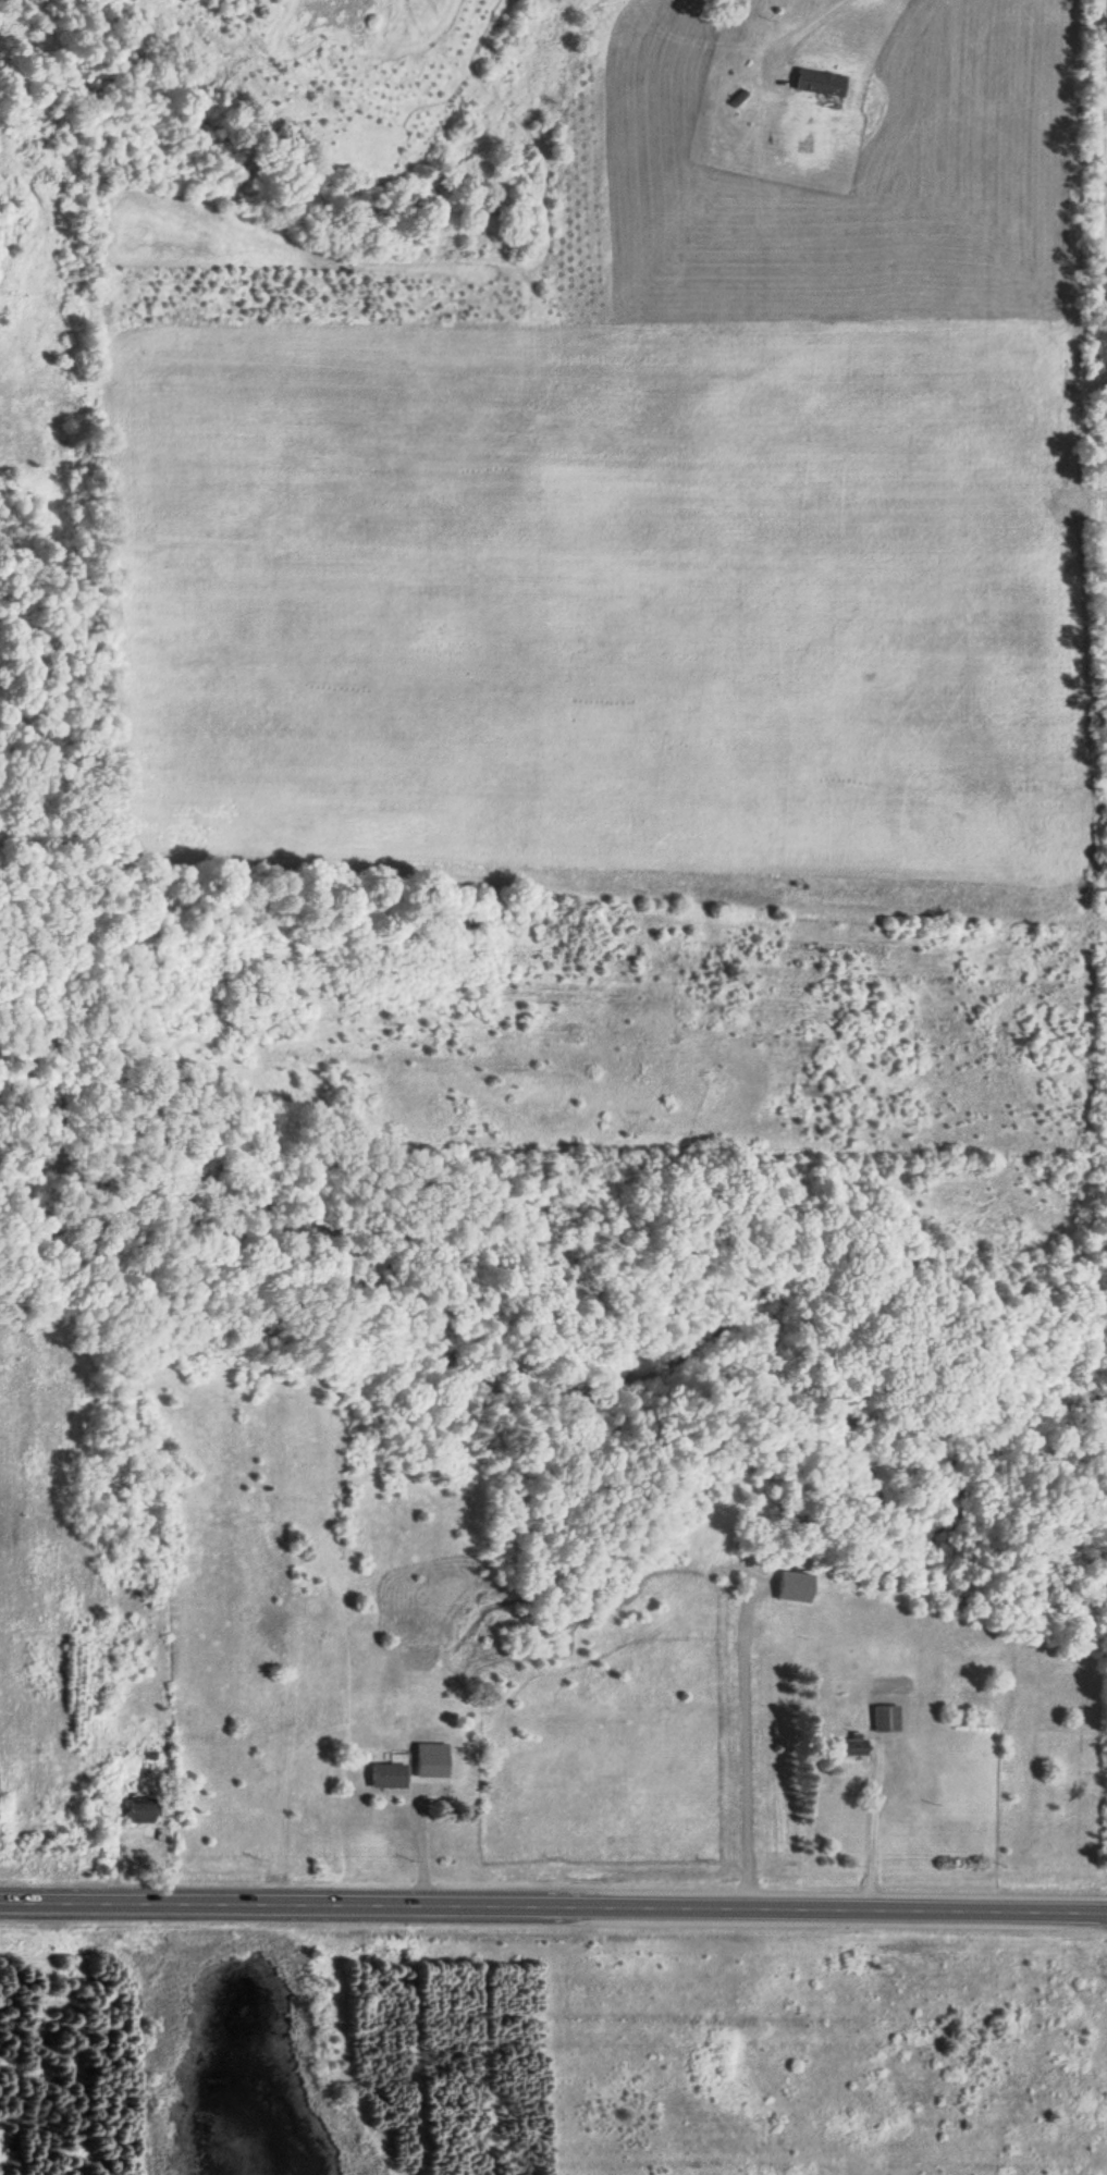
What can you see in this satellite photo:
building: (822, 83)
road: (1103, 224)
building: (798, 1587)
building: (887, 1719)
building: (422, 1768)
building: (390, 1775)
building: (144, 1812)
road: (553, 1906)

